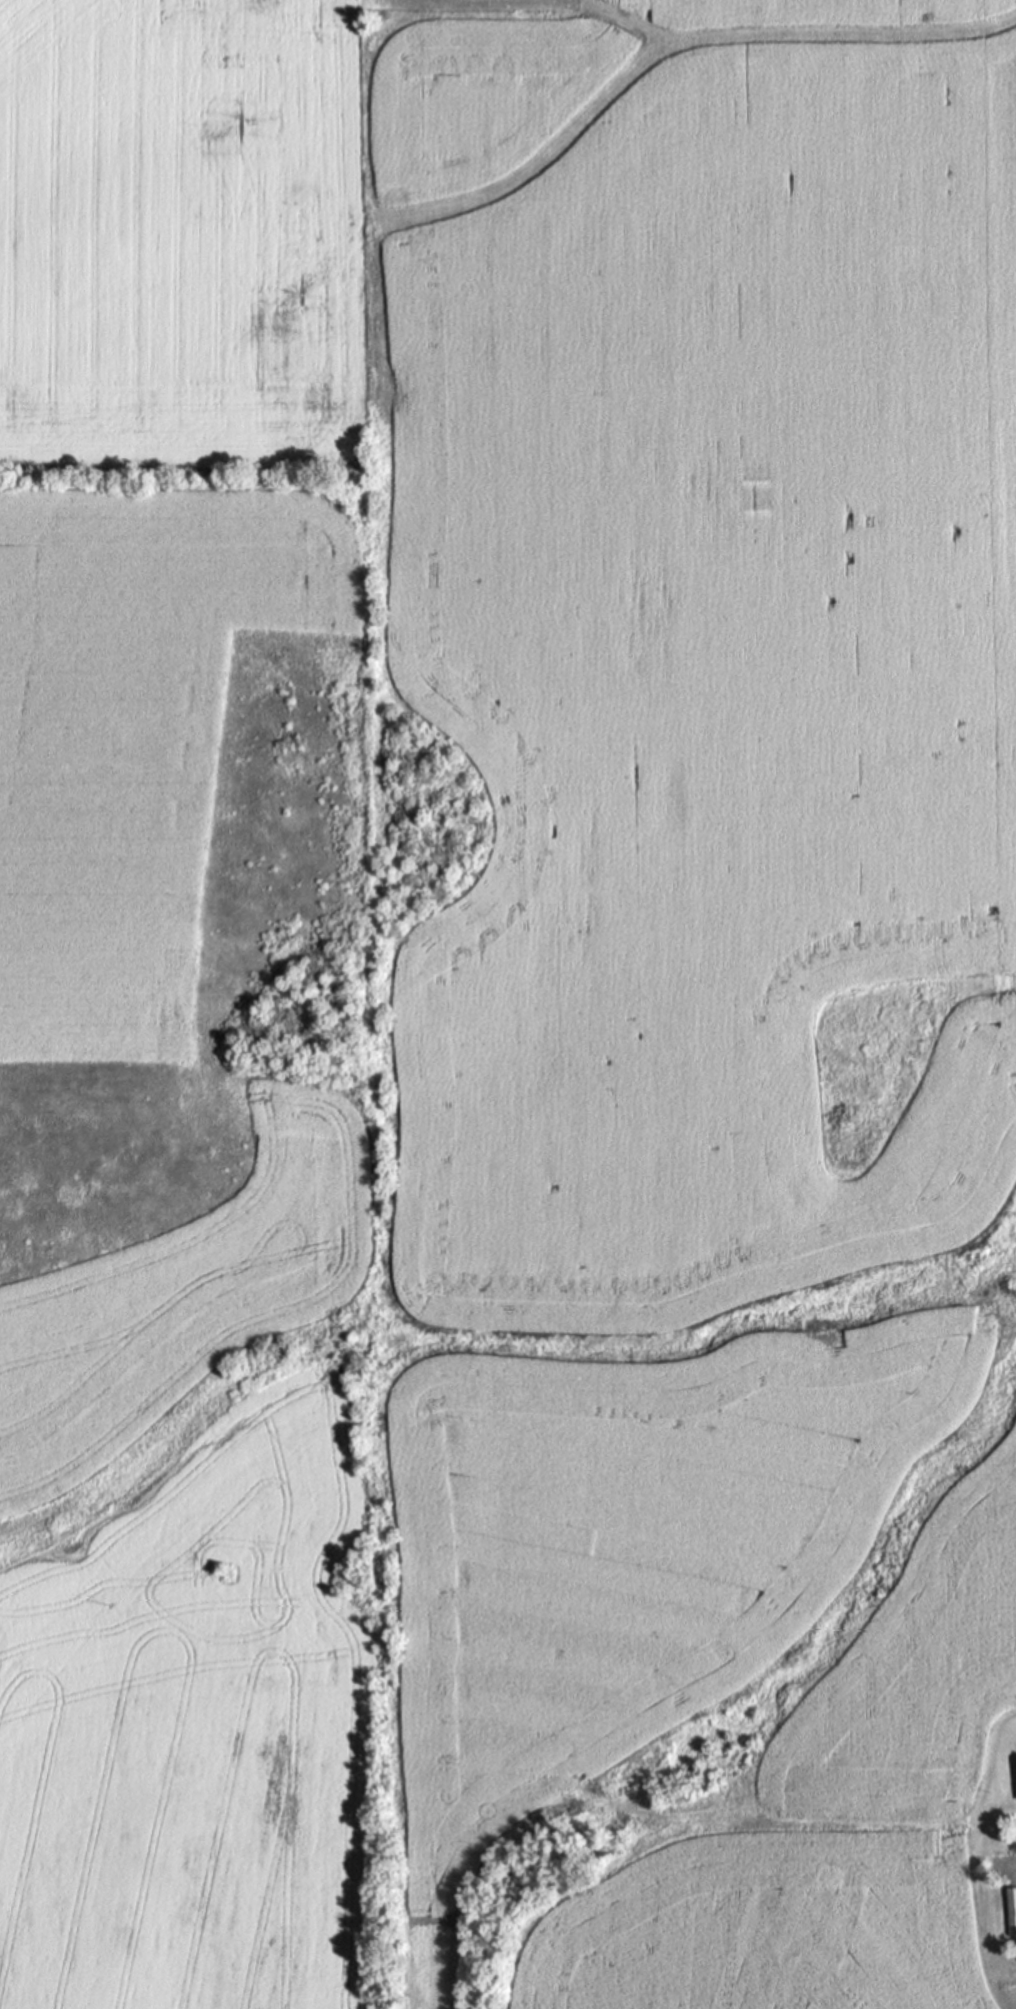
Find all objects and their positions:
road: (1008, 1811)
building: (1011, 1910)

